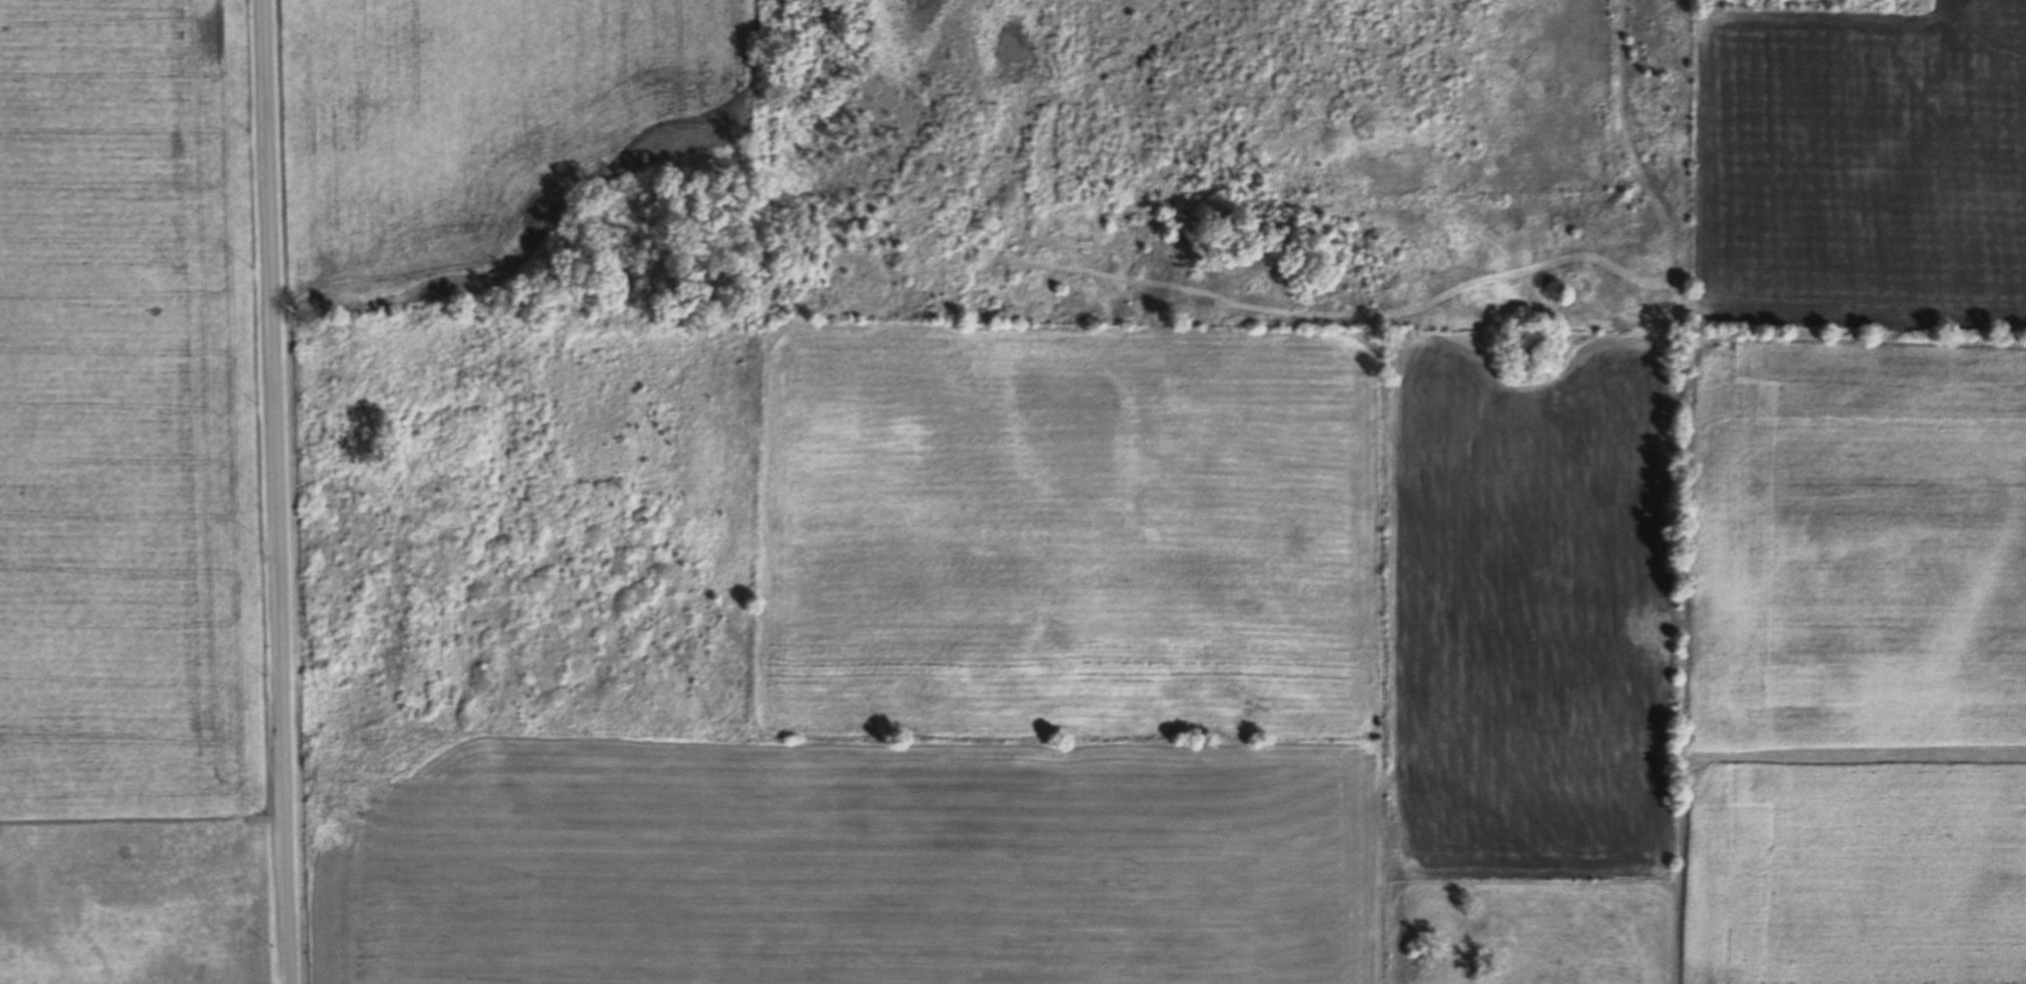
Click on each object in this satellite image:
road: (276, 492)

